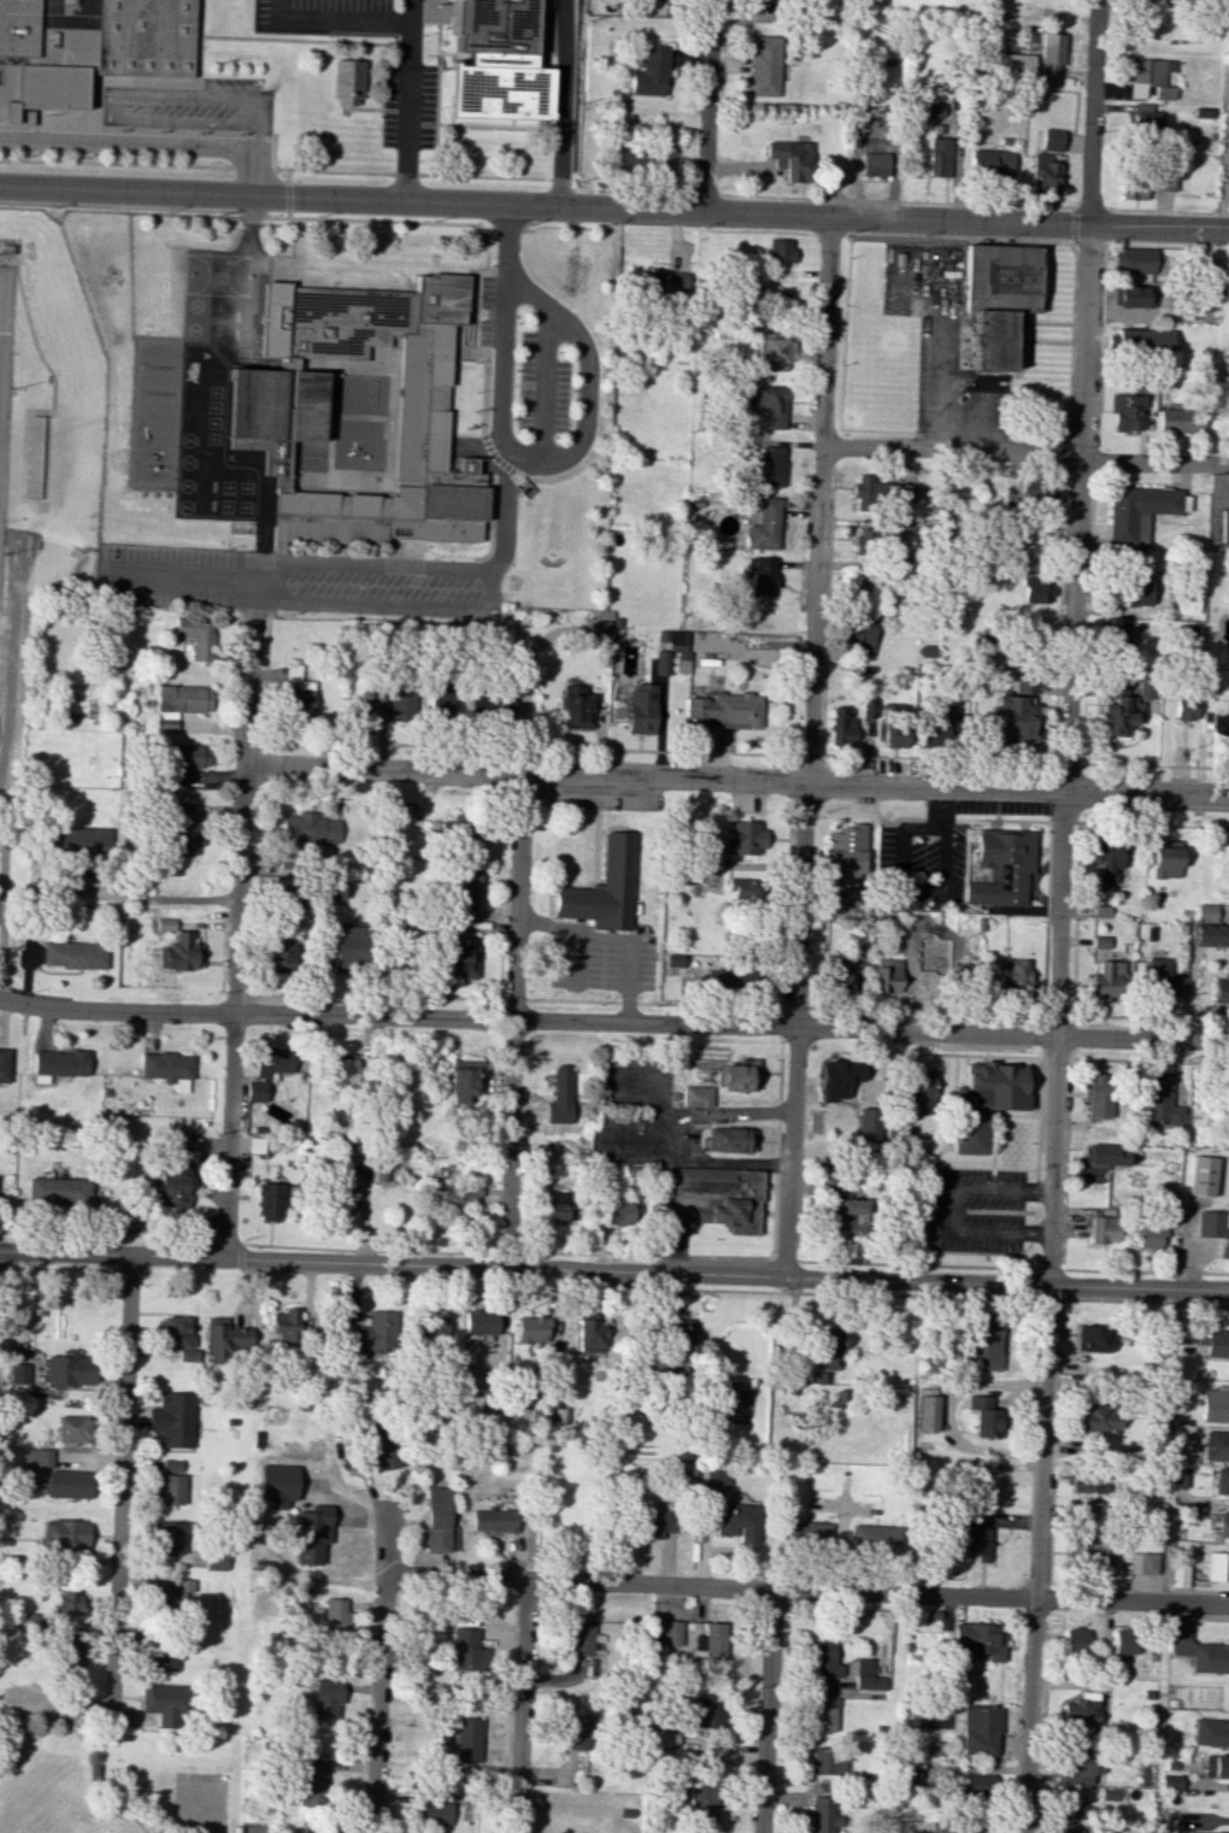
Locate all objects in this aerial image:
parking lot: (325, 16)
road: (336, 20)
building: (107, 33)
road: (214, 37)
building: (1051, 57)
building: (499, 59)
road: (59, 61)
building: (766, 65)
building: (649, 71)
building: (1148, 77)
building: (349, 81)
road: (92, 82)
road: (410, 100)
road: (564, 102)
road: (707, 105)
parking lot: (408, 106)
building: (1149, 122)
road: (136, 130)
building: (1052, 139)
road: (152, 143)
building: (940, 155)
building: (639, 157)
building: (792, 158)
building: (877, 160)
building: (990, 161)
road: (116, 163)
parking lot: (99, 164)
road: (252, 168)
road: (353, 172)
building: (1043, 175)
road: (280, 176)
building: (1163, 180)
road: (486, 183)
road: (69, 184)
building: (1131, 187)
road: (287, 200)
road: (613, 207)
road: (1074, 207)
road: (131, 208)
road: (483, 210)
road: (1170, 211)
road: (252, 219)
road: (380, 222)
road: (1013, 240)
road: (1105, 242)
building: (778, 249)
building: (1137, 260)
road: (1, 280)
building: (663, 283)
building: (1000, 298)
building: (777, 300)
parking lot: (487, 313)
road: (505, 318)
road: (34, 331)
road: (1028, 333)
building: (1142, 341)
parking lot: (942, 343)
road: (2, 348)
road: (1100, 348)
building: (775, 352)
road: (1025, 365)
road: (545, 384)
parking lot: (542, 388)
road: (588, 389)
road: (1070, 390)
road: (1083, 396)
building: (764, 401)
building: (278, 405)
building: (1127, 412)
building: (1172, 421)
road: (965, 439)
road: (1024, 453)
road: (1066, 460)
building: (770, 466)
building: (869, 490)
building: (902, 490)
road: (22, 501)
road: (818, 501)
building: (1139, 512)
road: (508, 516)
road: (1092, 517)
building: (764, 524)
building: (1224, 527)
building: (864, 540)
building: (1035, 546)
road: (261, 548)
road: (378, 569)
building: (761, 575)
road: (188, 576)
parking lot: (292, 582)
building: (860, 589)
building: (1036, 589)
building: (1137, 589)
building: (1184, 606)
road: (389, 607)
road: (1060, 615)
building: (858, 634)
building: (1225, 634)
road: (12, 635)
building: (1187, 636)
building: (196, 638)
building: (978, 646)
building: (681, 653)
building: (661, 662)
building: (1145, 688)
road: (253, 691)
building: (298, 692)
building: (440, 701)
building: (178, 703)
building: (400, 703)
building: (574, 706)
building: (358, 707)
building: (641, 707)
building: (868, 707)
building: (1184, 707)
building: (490, 709)
building: (1117, 710)
building: (722, 711)
building: (1016, 711)
road: (823, 724)
building: (895, 724)
building: (841, 725)
building: (1217, 727)
building: (935, 730)
road: (466, 746)
building: (186, 756)
road: (812, 756)
road: (1156, 764)
road: (1053, 776)
road: (739, 783)
road: (1022, 821)
building: (182, 828)
building: (308, 829)
building: (465, 829)
building: (743, 838)
building: (80, 840)
building: (1106, 859)
building: (619, 862)
building: (846, 862)
building: (1164, 862)
building: (1001, 868)
building: (464, 887)
building: (742, 888)
building: (330, 889)
road: (155, 899)
road: (5, 905)
building: (1205, 911)
building: (1211, 935)
road: (616, 938)
building: (1099, 941)
building: (348, 948)
building: (180, 952)
building: (72, 954)
building: (281, 954)
parking lot: (600, 958)
building: (459, 959)
road: (578, 959)
building: (858, 960)
building: (675, 969)
building: (835, 973)
building: (887, 975)
building: (1013, 975)
building: (729, 977)
building: (1160, 977)
building: (1105, 981)
building: (1221, 988)
road: (1071, 998)
road: (234, 1010)
road: (513, 1022)
road: (613, 1024)
road: (795, 1030)
building: (271, 1061)
building: (58, 1063)
building: (4, 1064)
building: (166, 1069)
building: (341, 1073)
building: (735, 1075)
building: (463, 1079)
building: (837, 1079)
building: (255, 1091)
building: (917, 1094)
building: (1096, 1094)
building: (559, 1095)
building: (695, 1095)
building: (1159, 1100)
building: (983, 1101)
building: (868, 1123)
building: (334, 1124)
building: (729, 1139)
building: (1104, 1155)
building: (380, 1171)
building: (1200, 1175)
building: (170, 1183)
building: (58, 1191)
building: (457, 1195)
building: (718, 1197)
building: (269, 1202)
building: (342, 1202)
building: (557, 1208)
road: (947, 1210)
parking lot: (975, 1211)
building: (619, 1212)
building: (849, 1217)
building: (1213, 1227)
building: (1102, 1228)
building: (1149, 1235)
road: (365, 1251)
road: (506, 1252)
road: (646, 1253)
road: (241, 1255)
road: (783, 1258)
road: (915, 1265)
road: (1047, 1269)
road: (1146, 1270)
road: (613, 1271)
road: (1031, 1282)
road: (829, 1293)
road: (1062, 1298)
road: (1145, 1302)
road: (1042, 1312)
building: (480, 1321)
building: (617, 1324)
building: (284, 1326)
building: (431, 1326)
building: (531, 1329)
building: (177, 1332)
building: (369, 1333)
building: (589, 1335)
building: (677, 1336)
building: (1093, 1338)
building: (224, 1339)
building: (982, 1343)
building: (1216, 1344)
building: (828, 1349)
building: (70, 1369)
building: (18, 1373)
building: (1215, 1404)
building: (925, 1412)
building: (983, 1416)
building: (1098, 1417)
building: (172, 1420)
building: (72, 1429)
road: (1055, 1443)
building: (1216, 1445)
building: (384, 1446)
building: (36, 1457)
building: (974, 1474)
building: (716, 1476)
building: (1180, 1476)
building: (1087, 1480)
building: (1221, 1480)
building: (170, 1482)
building: (67, 1484)
building: (277, 1484)
road: (119, 1490)
building: (1087, 1515)
building: (436, 1518)
building: (493, 1520)
building: (657, 1522)
building: (737, 1522)
building: (1223, 1523)
building: (65, 1533)
building: (310, 1533)
building: (805, 1533)
building: (976, 1533)
building: (169, 1537)
building: (875, 1537)
building: (1089, 1555)
building: (216, 1558)
building: (1142, 1563)
building: (1217, 1565)
road: (807, 1588)
building: (174, 1596)
building: (69, 1599)
building: (334, 1615)
building: (27, 1622)
building: (671, 1632)
building: (580, 1639)
building: (1075, 1639)
building: (711, 1641)
building: (976, 1641)
building: (1124, 1641)
building: (461, 1649)
building: (1198, 1649)
building: (71, 1653)
building: (160, 1657)
building: (825, 1662)
building: (868, 1674)
road: (382, 1675)
building: (325, 1698)
building: (164, 1702)
road: (522, 1708)
building: (1081, 1709)
road: (766, 1710)
building: (824, 1714)
building: (702, 1716)
building: (978, 1729)
building: (577, 1732)
building: (1211, 1732)
building: (465, 1740)
building: (827, 1759)
building: (1216, 1766)
building: (1078, 1767)
building: (1170, 1781)
park: (120, 1782)
building: (311, 1782)
road: (105, 1788)
building: (701, 1800)
building: (1074, 1806)
building: (430, 1809)
road: (201, 1811)
building: (822, 1814)
building: (943, 1827)
building: (1070, 1829)
building: (1223, 1832)

